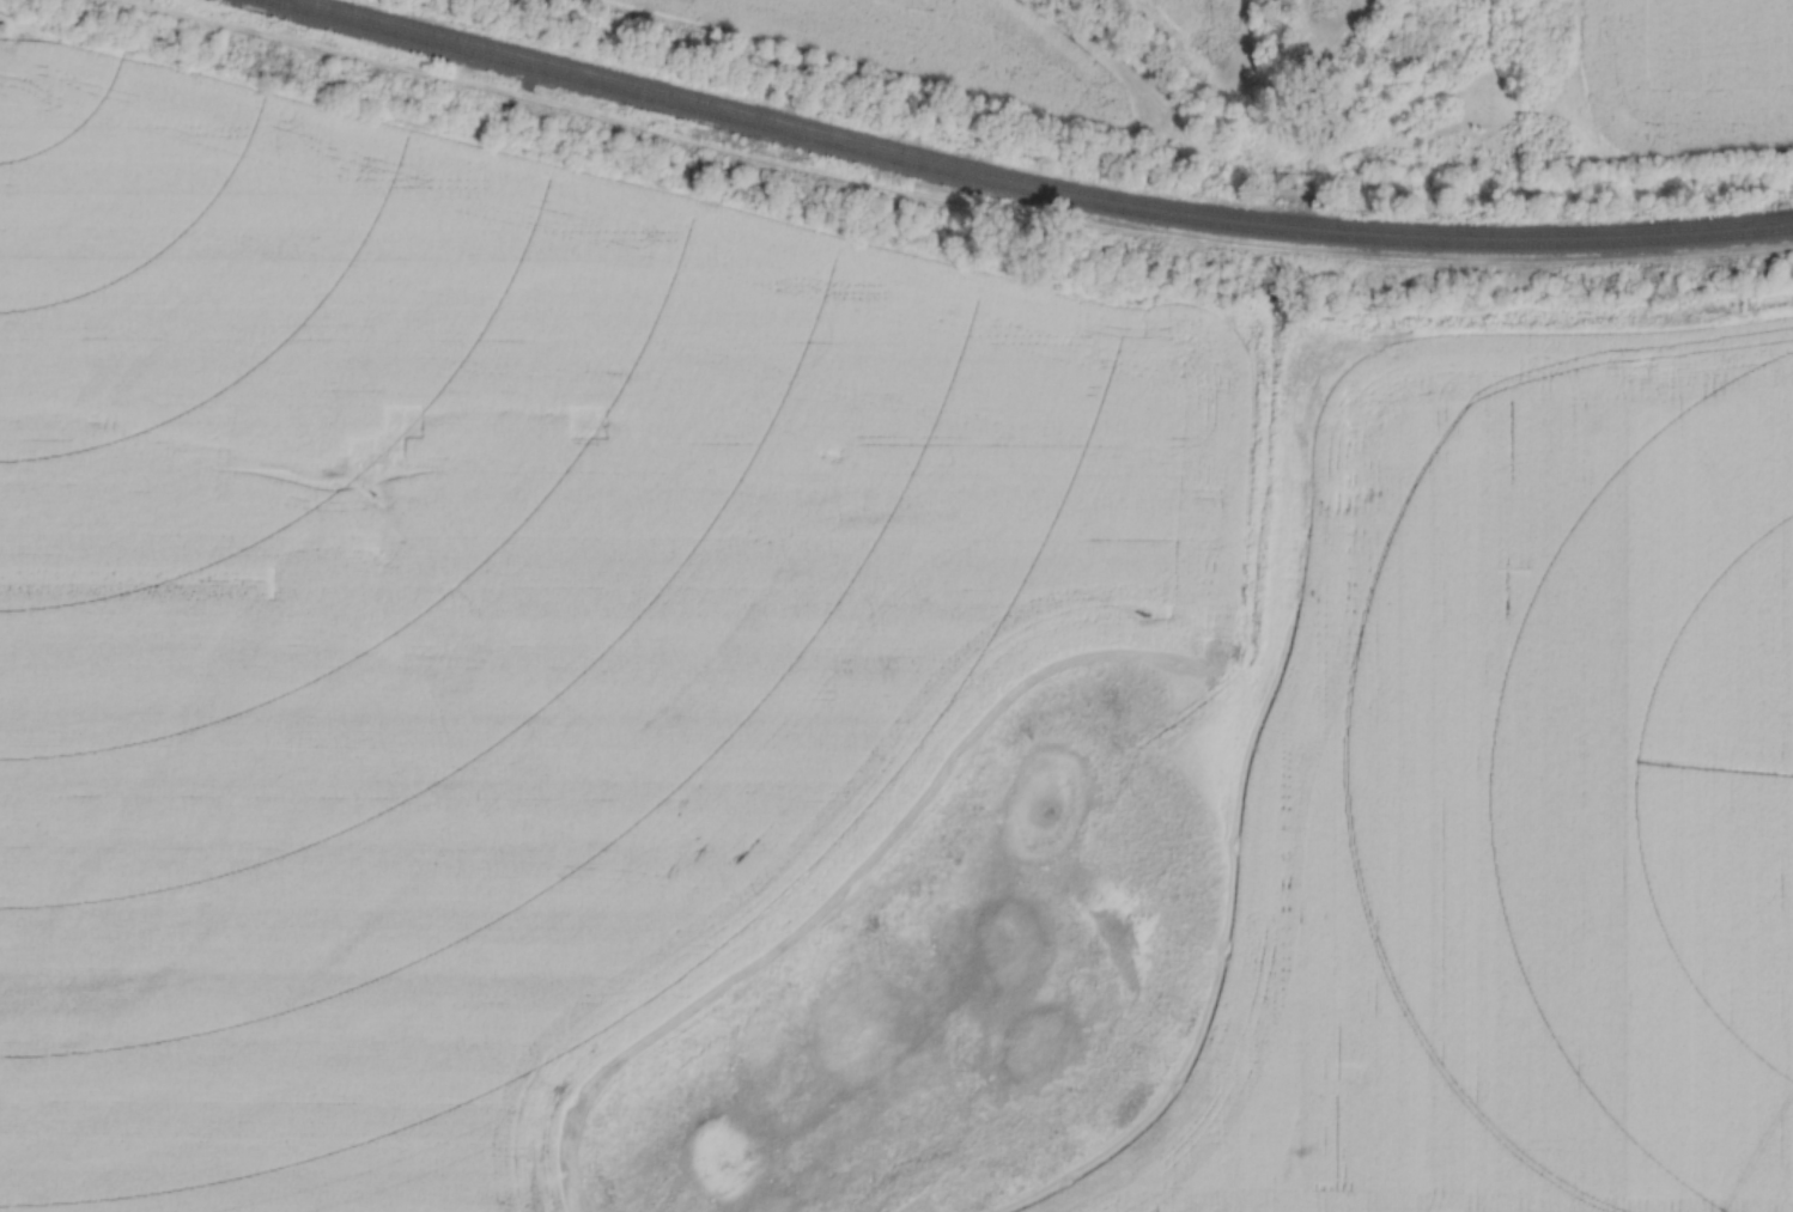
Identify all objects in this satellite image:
railway: (1039, 182)
railway: (1017, 189)

